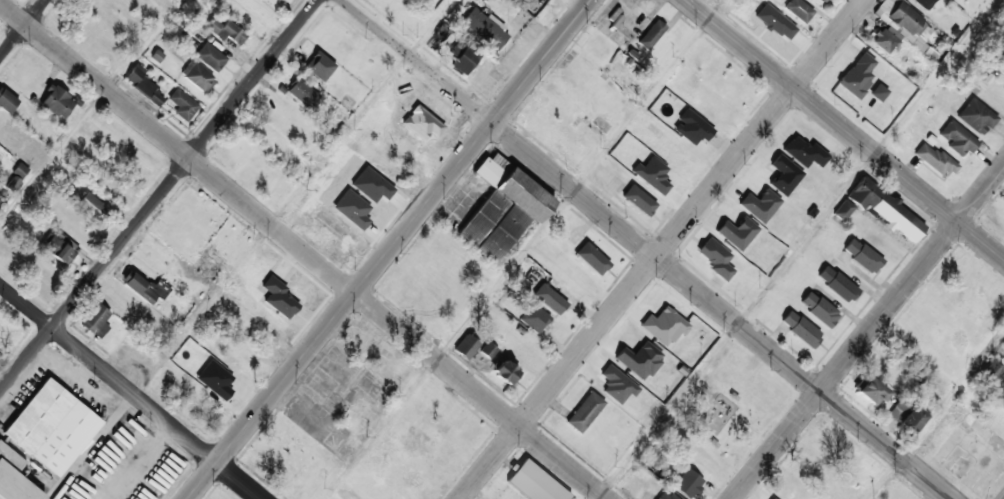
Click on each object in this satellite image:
building: (822, 1)
building: (922, 3)
building: (798, 10)
building: (898, 26)
road: (22, 28)
building: (484, 29)
building: (225, 31)
building: (651, 34)
building: (210, 56)
building: (462, 57)
building: (320, 66)
building: (1001, 69)
building: (857, 75)
building: (197, 76)
building: (143, 85)
building: (878, 92)
building: (303, 93)
building: (7, 100)
building: (57, 102)
building: (182, 104)
road: (89, 111)
building: (976, 116)
building: (692, 127)
road: (845, 129)
building: (957, 138)
building: (28, 150)
building: (804, 152)
building: (934, 159)
building: (784, 175)
road: (159, 196)
building: (639, 200)
building: (760, 204)
building: (92, 206)
building: (502, 206)
building: (886, 209)
building: (843, 210)
building: (737, 233)
building: (60, 248)
road: (646, 248)
road: (252, 249)
road: (389, 249)
road: (662, 249)
road: (799, 249)
road: (302, 251)
building: (862, 256)
building: (592, 259)
building: (716, 259)
building: (837, 284)
building: (139, 288)
building: (160, 289)
building: (550, 299)
building: (819, 309)
building: (534, 318)
building: (96, 321)
building: (664, 326)
building: (801, 329)
road: (868, 331)
building: (466, 347)
building: (488, 350)
building: (639, 360)
building: (504, 371)
building: (992, 375)
building: (617, 385)
building: (872, 391)
road: (130, 393)
building: (897, 411)
building: (585, 412)
road: (936, 415)
building: (912, 420)
building: (52, 427)
building: (14, 477)
building: (535, 483)
building: (688, 484)
building: (666, 495)

